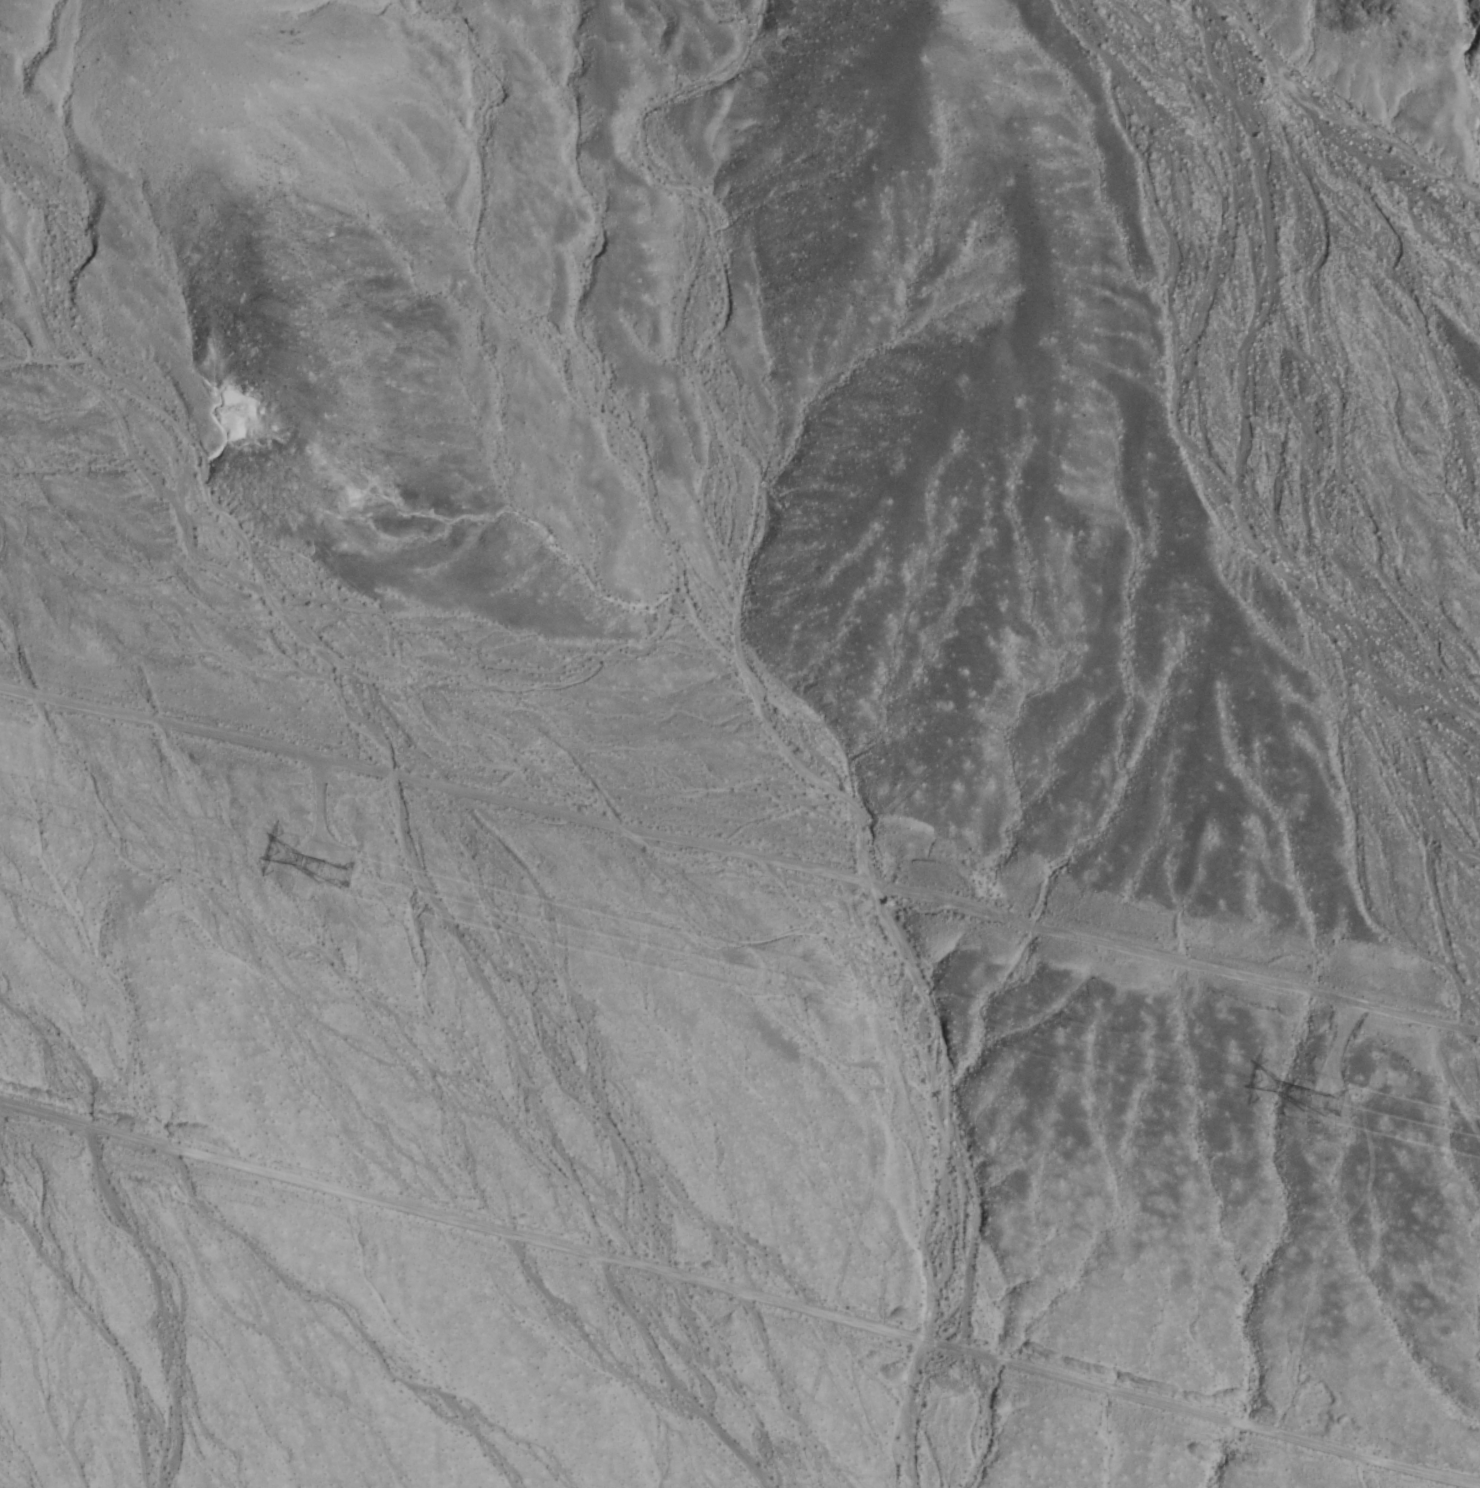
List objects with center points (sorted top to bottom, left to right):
road: (975, 754)
road: (740, 849)
road: (422, 862)
power tower: (353, 866)
power tower: (1337, 1104)
road: (737, 1293)

